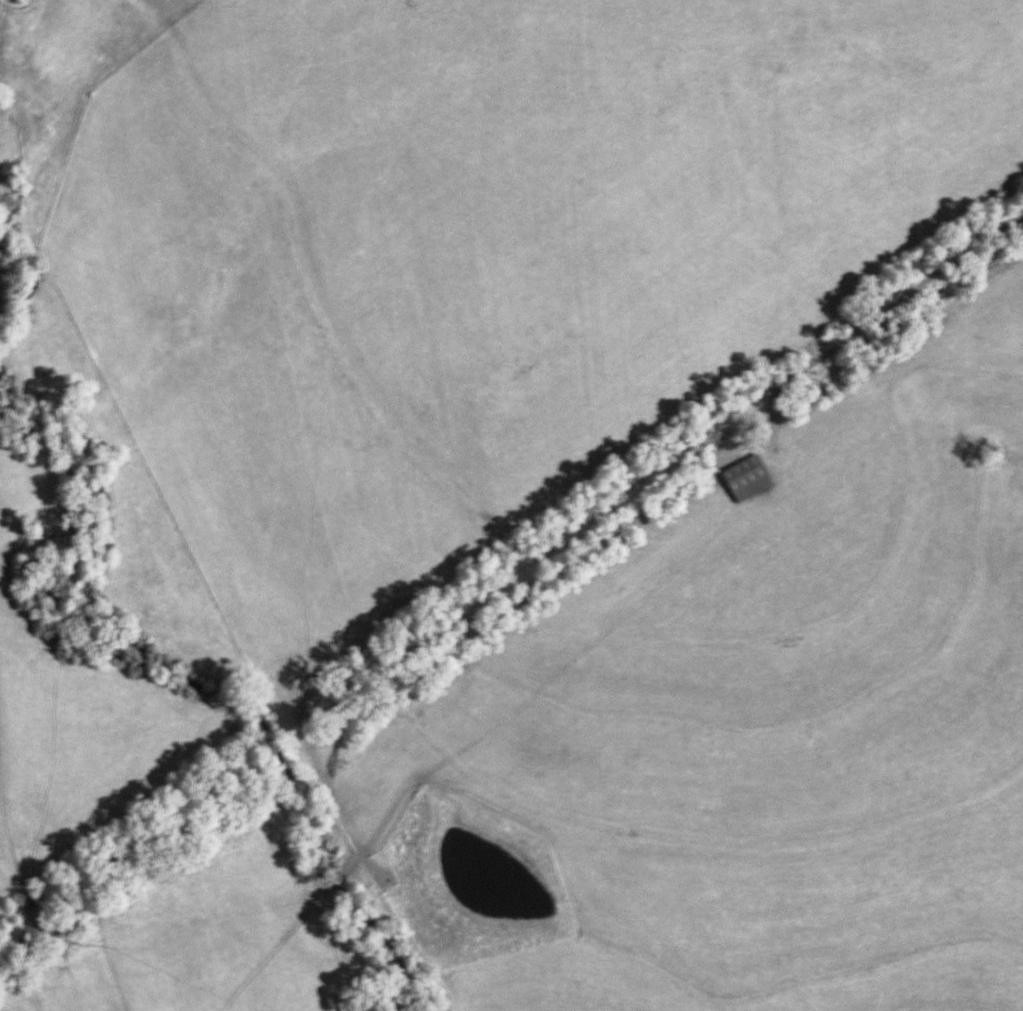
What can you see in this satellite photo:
building: (746, 479)

